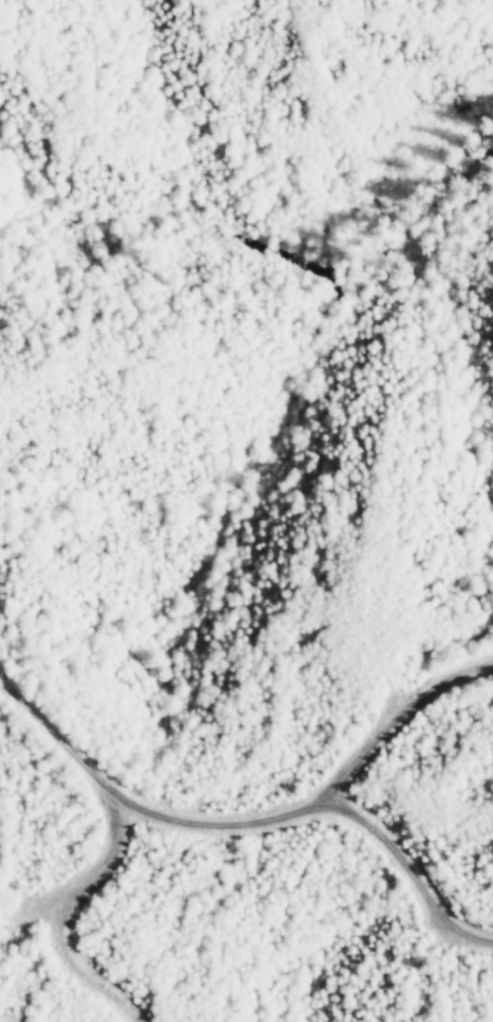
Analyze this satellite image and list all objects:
road: (209, 803)

